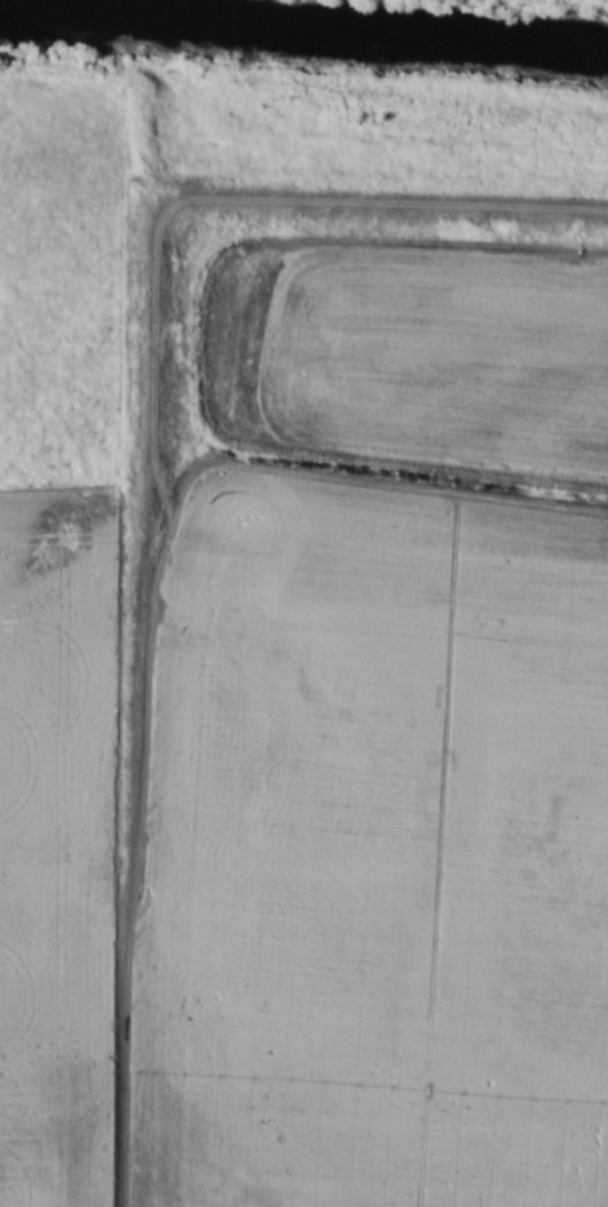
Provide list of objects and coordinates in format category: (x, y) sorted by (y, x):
river: (304, 32)

